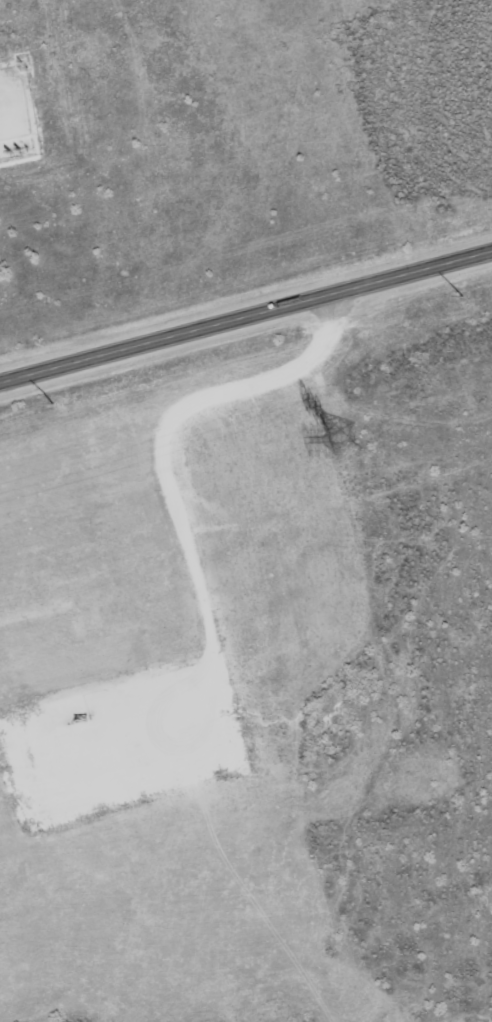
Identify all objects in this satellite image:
power tower: (470, 292)
road: (246, 321)
power tower: (79, 396)
power tower: (342, 440)

